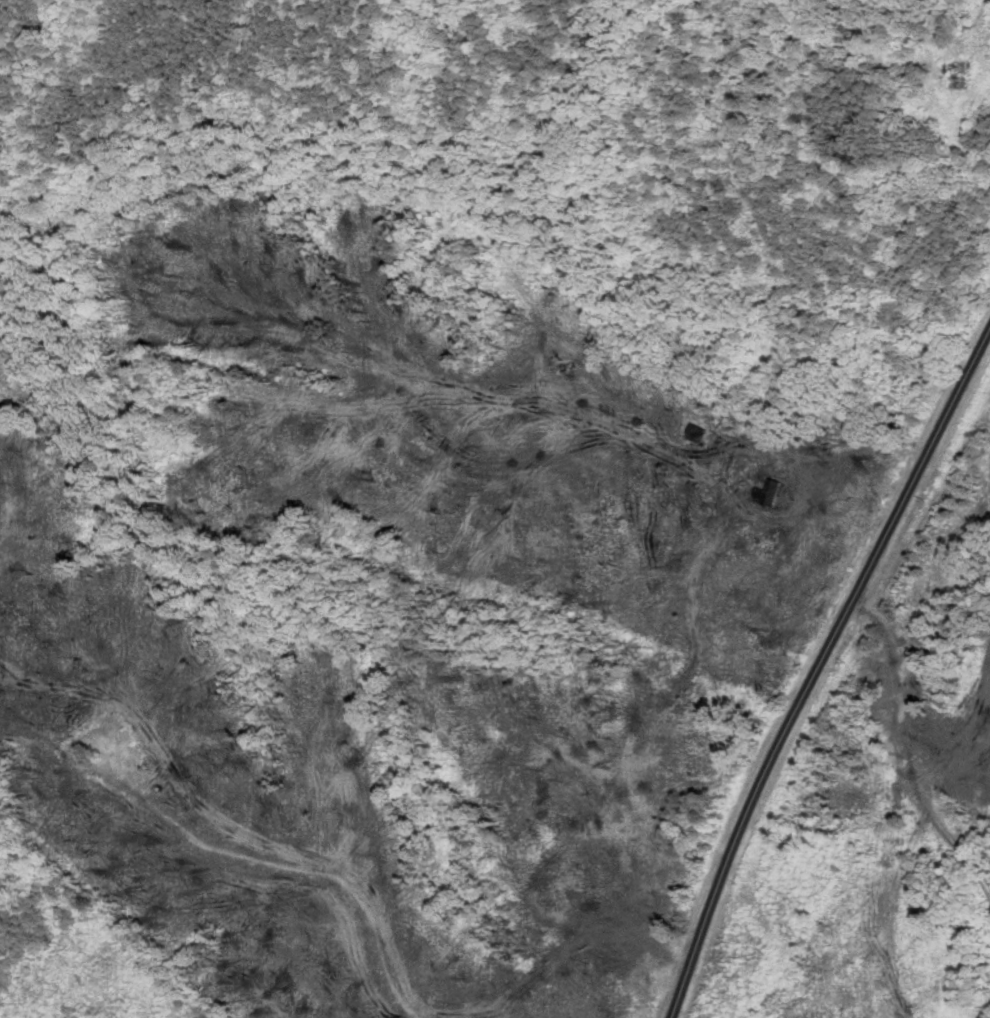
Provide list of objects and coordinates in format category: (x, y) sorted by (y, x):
road: (880, 539)
road: (720, 884)

